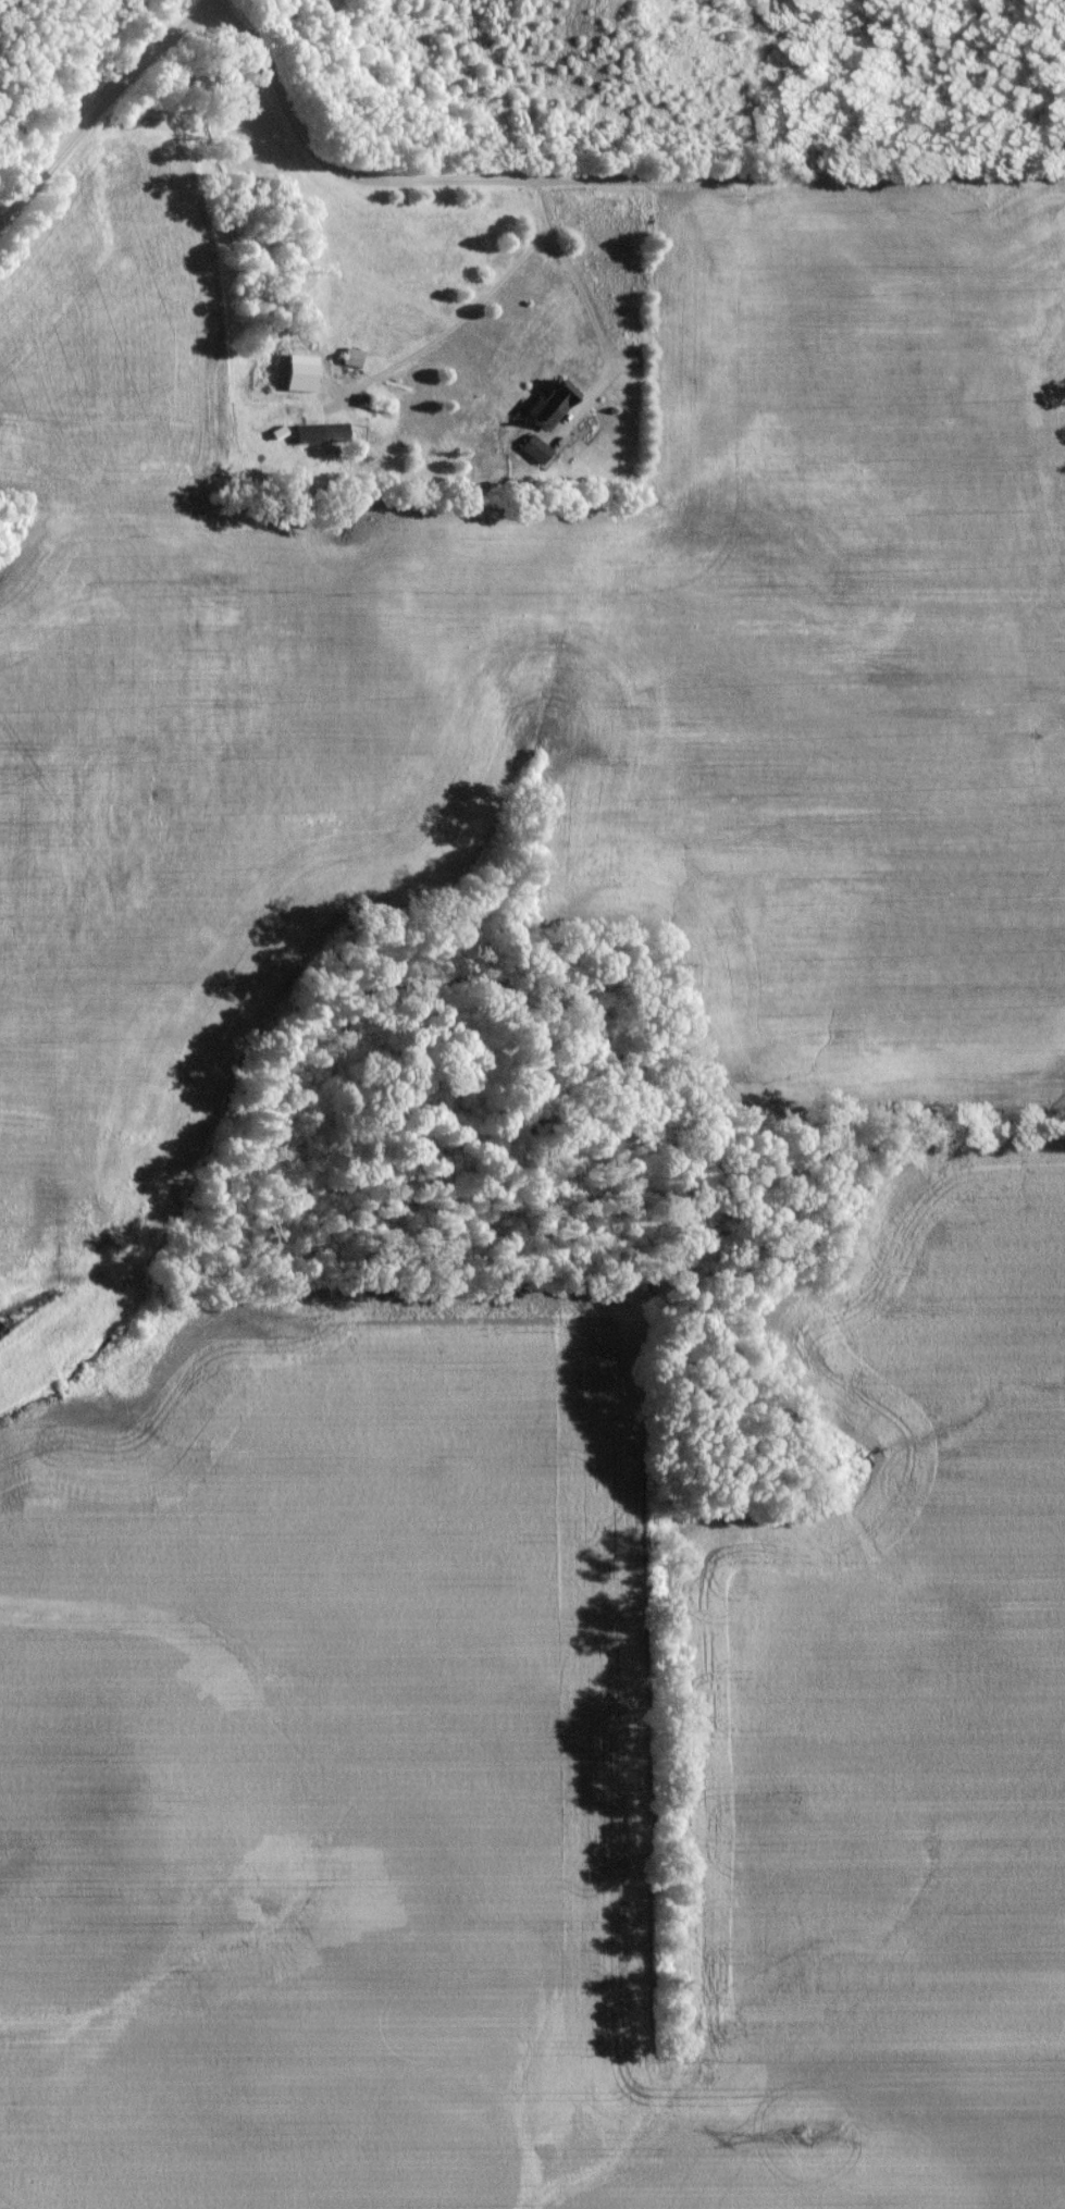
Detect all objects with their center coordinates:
road: (102, 113)
road: (593, 187)
road: (582, 295)
road: (454, 329)
building: (345, 363)
building: (536, 425)
building: (527, 455)
road: (227, 1780)
power tower: (798, 2142)

